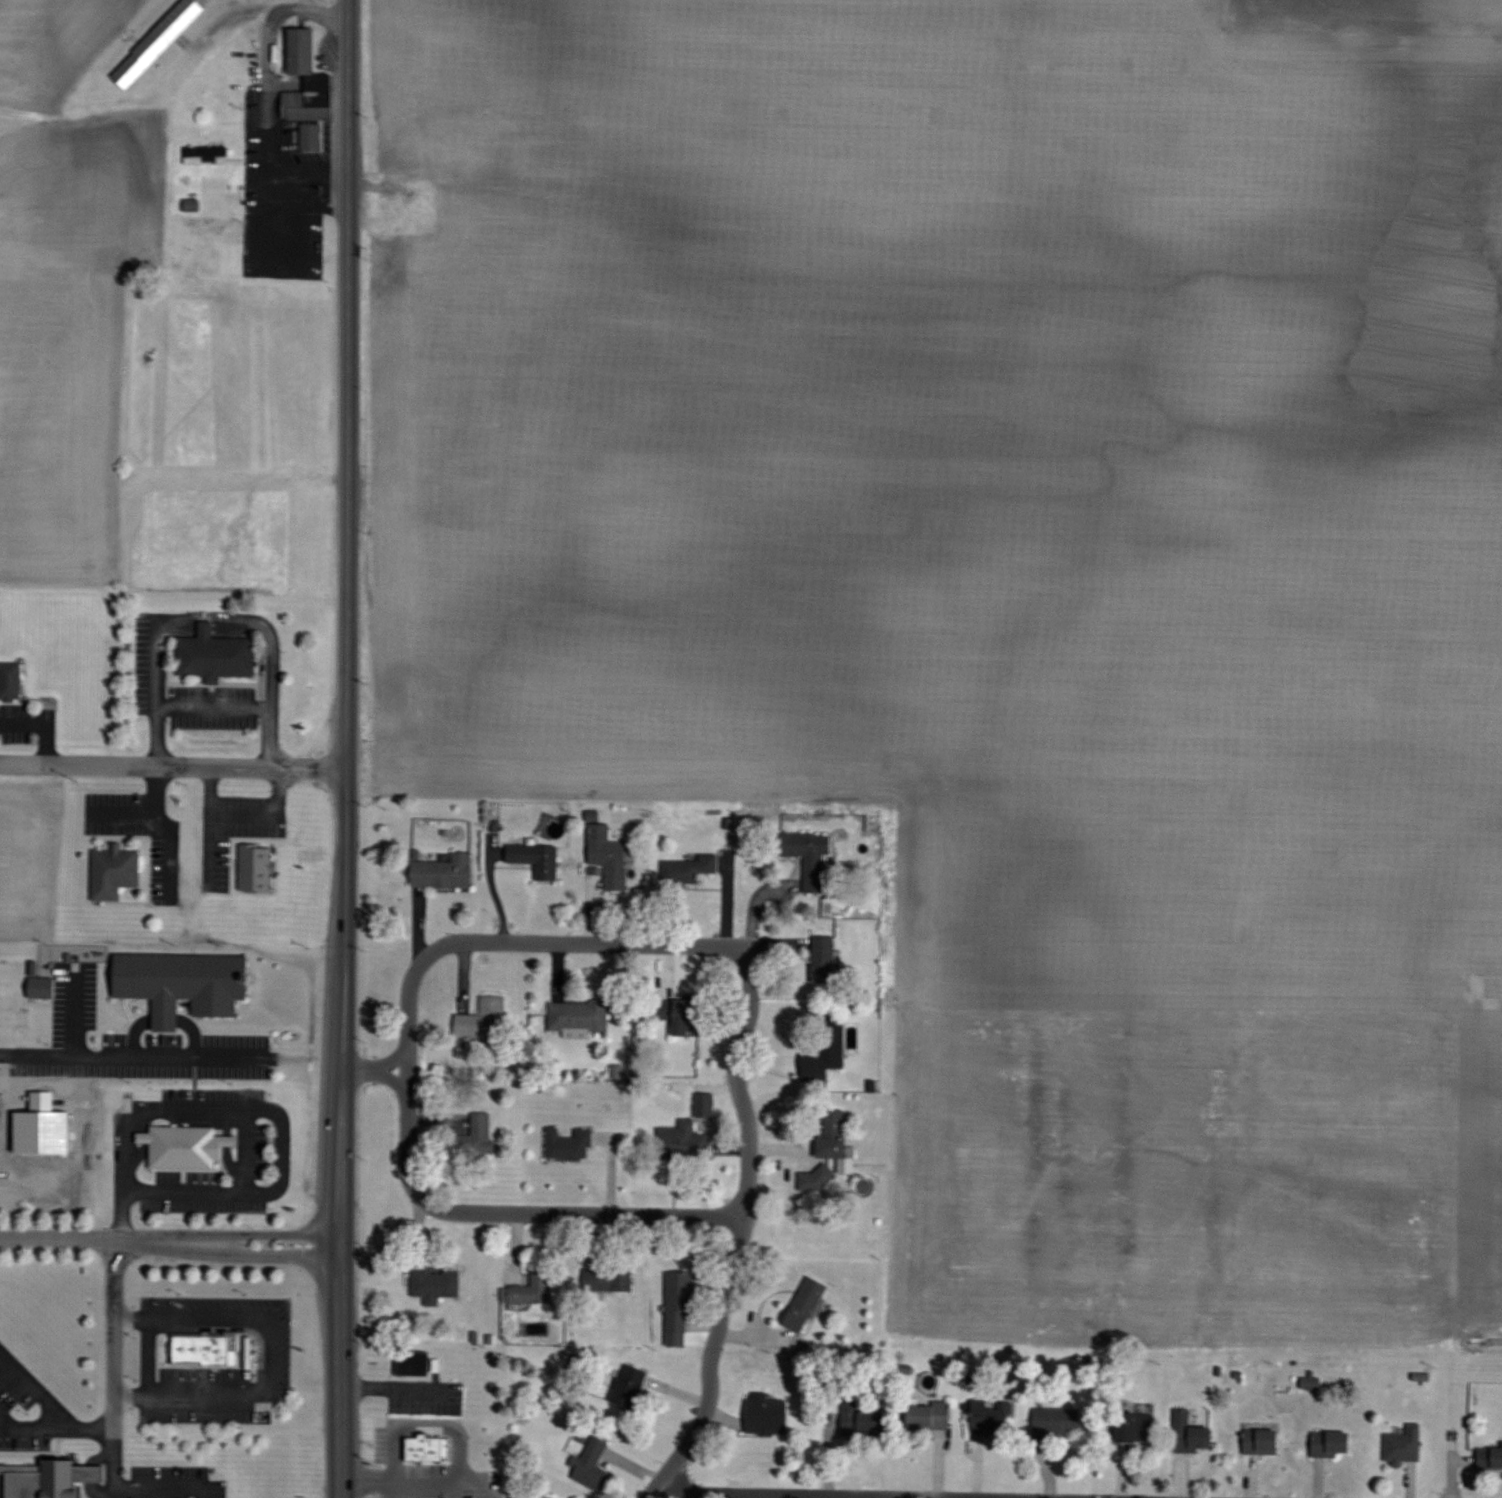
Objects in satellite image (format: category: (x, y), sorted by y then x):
building: (160, 39)
road: (266, 64)
building: (308, 80)
building: (312, 137)
building: (207, 155)
road: (310, 179)
building: (193, 205)
road: (202, 624)
building: (217, 655)
road: (269, 670)
road: (153, 677)
building: (11, 681)
road: (211, 702)
road: (45, 723)
road: (346, 749)
road: (186, 770)
road: (122, 810)
road: (242, 815)
road: (160, 830)
building: (608, 855)
building: (810, 857)
building: (537, 860)
building: (257, 868)
building: (689, 870)
building: (445, 872)
building: (115, 873)
road: (751, 904)
road: (514, 945)
building: (825, 959)
building: (184, 984)
building: (42, 988)
road: (71, 1013)
road: (161, 1016)
building: (578, 1017)
building: (679, 1017)
building: (483, 1022)
road: (130, 1029)
road: (190, 1030)
building: (832, 1038)
road: (130, 1053)
road: (368, 1072)
building: (705, 1104)
road: (257, 1106)
building: (482, 1134)
building: (834, 1135)
building: (688, 1140)
building: (569, 1146)
building: (186, 1147)
road: (247, 1150)
road: (514, 1216)
road: (736, 1233)
road: (169, 1241)
building: (609, 1280)
building: (436, 1285)
building: (530, 1291)
building: (680, 1301)
building: (807, 1304)
road: (112, 1335)
building: (206, 1351)
road: (149, 1355)
road: (271, 1355)
building: (414, 1364)
building: (634, 1387)
road: (37, 1388)
building: (767, 1415)
building: (931, 1416)
building: (1028, 1420)
building: (868, 1422)
road: (2, 1423)
road: (56, 1428)
building: (1137, 1429)
building: (1192, 1434)
building: (1262, 1441)
building: (1333, 1444)
building: (1405, 1445)
building: (1489, 1459)
road: (113, 1464)
building: (592, 1466)
building: (50, 1478)
road: (163, 1486)
building: (426, 1495)
road: (700, 1495)
building: (550, 1497)

